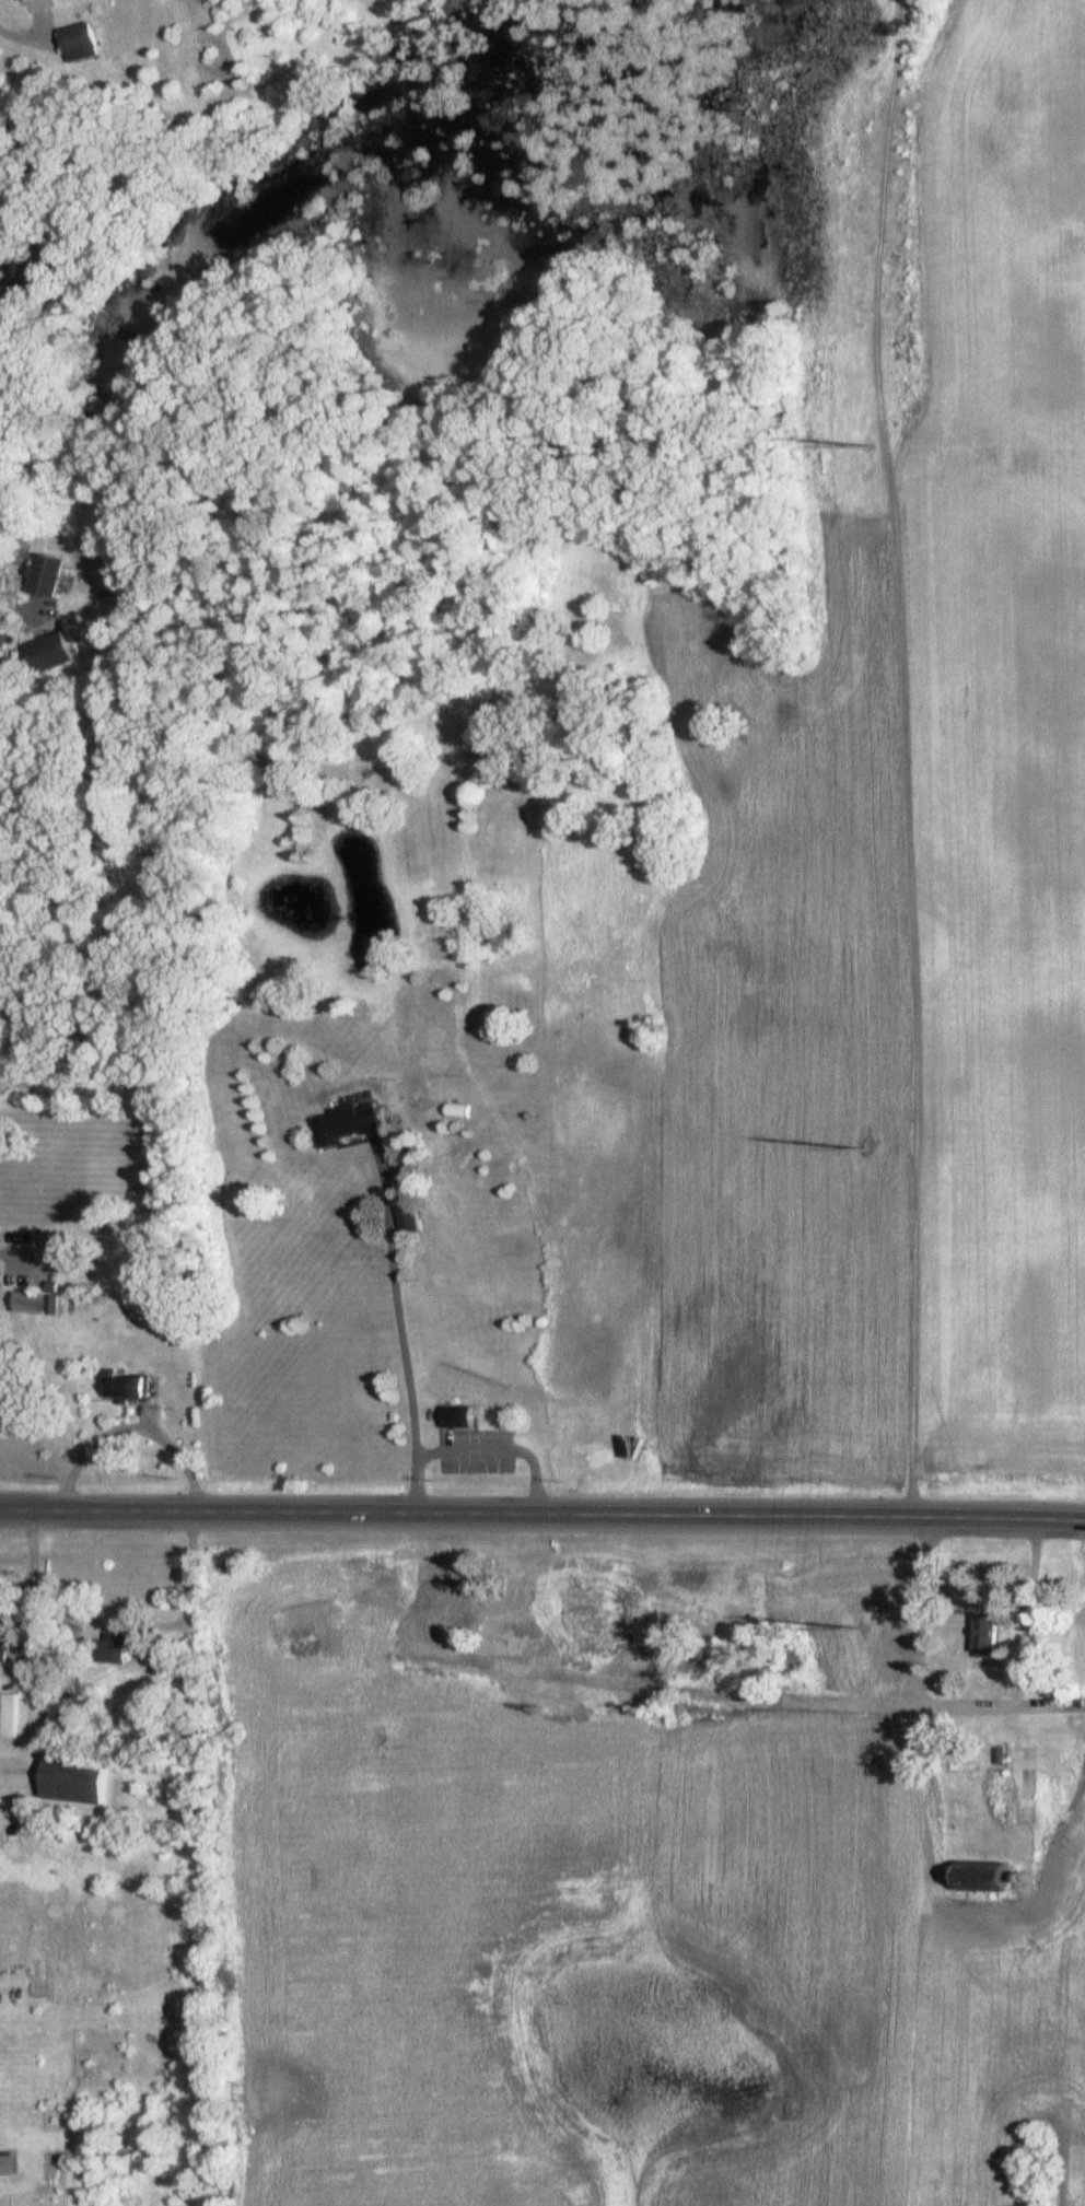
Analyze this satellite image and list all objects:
road: (20, 37)
building: (83, 42)
building: (49, 265)
power tower: (871, 447)
building: (48, 575)
road: (14, 599)
building: (50, 653)
building: (351, 1127)
power tower: (861, 1149)
building: (406, 1224)
building: (35, 1302)
road: (395, 1324)
building: (130, 1387)
building: (458, 1417)
road: (127, 1427)
road: (493, 1448)
road: (542, 1506)
road: (195, 1574)
road: (34, 1592)
power tower: (859, 1627)
building: (992, 1635)
building: (12, 1645)
building: (131, 1648)
road: (967, 1705)
building: (12, 1715)
building: (1051, 1788)
building: (989, 1877)

